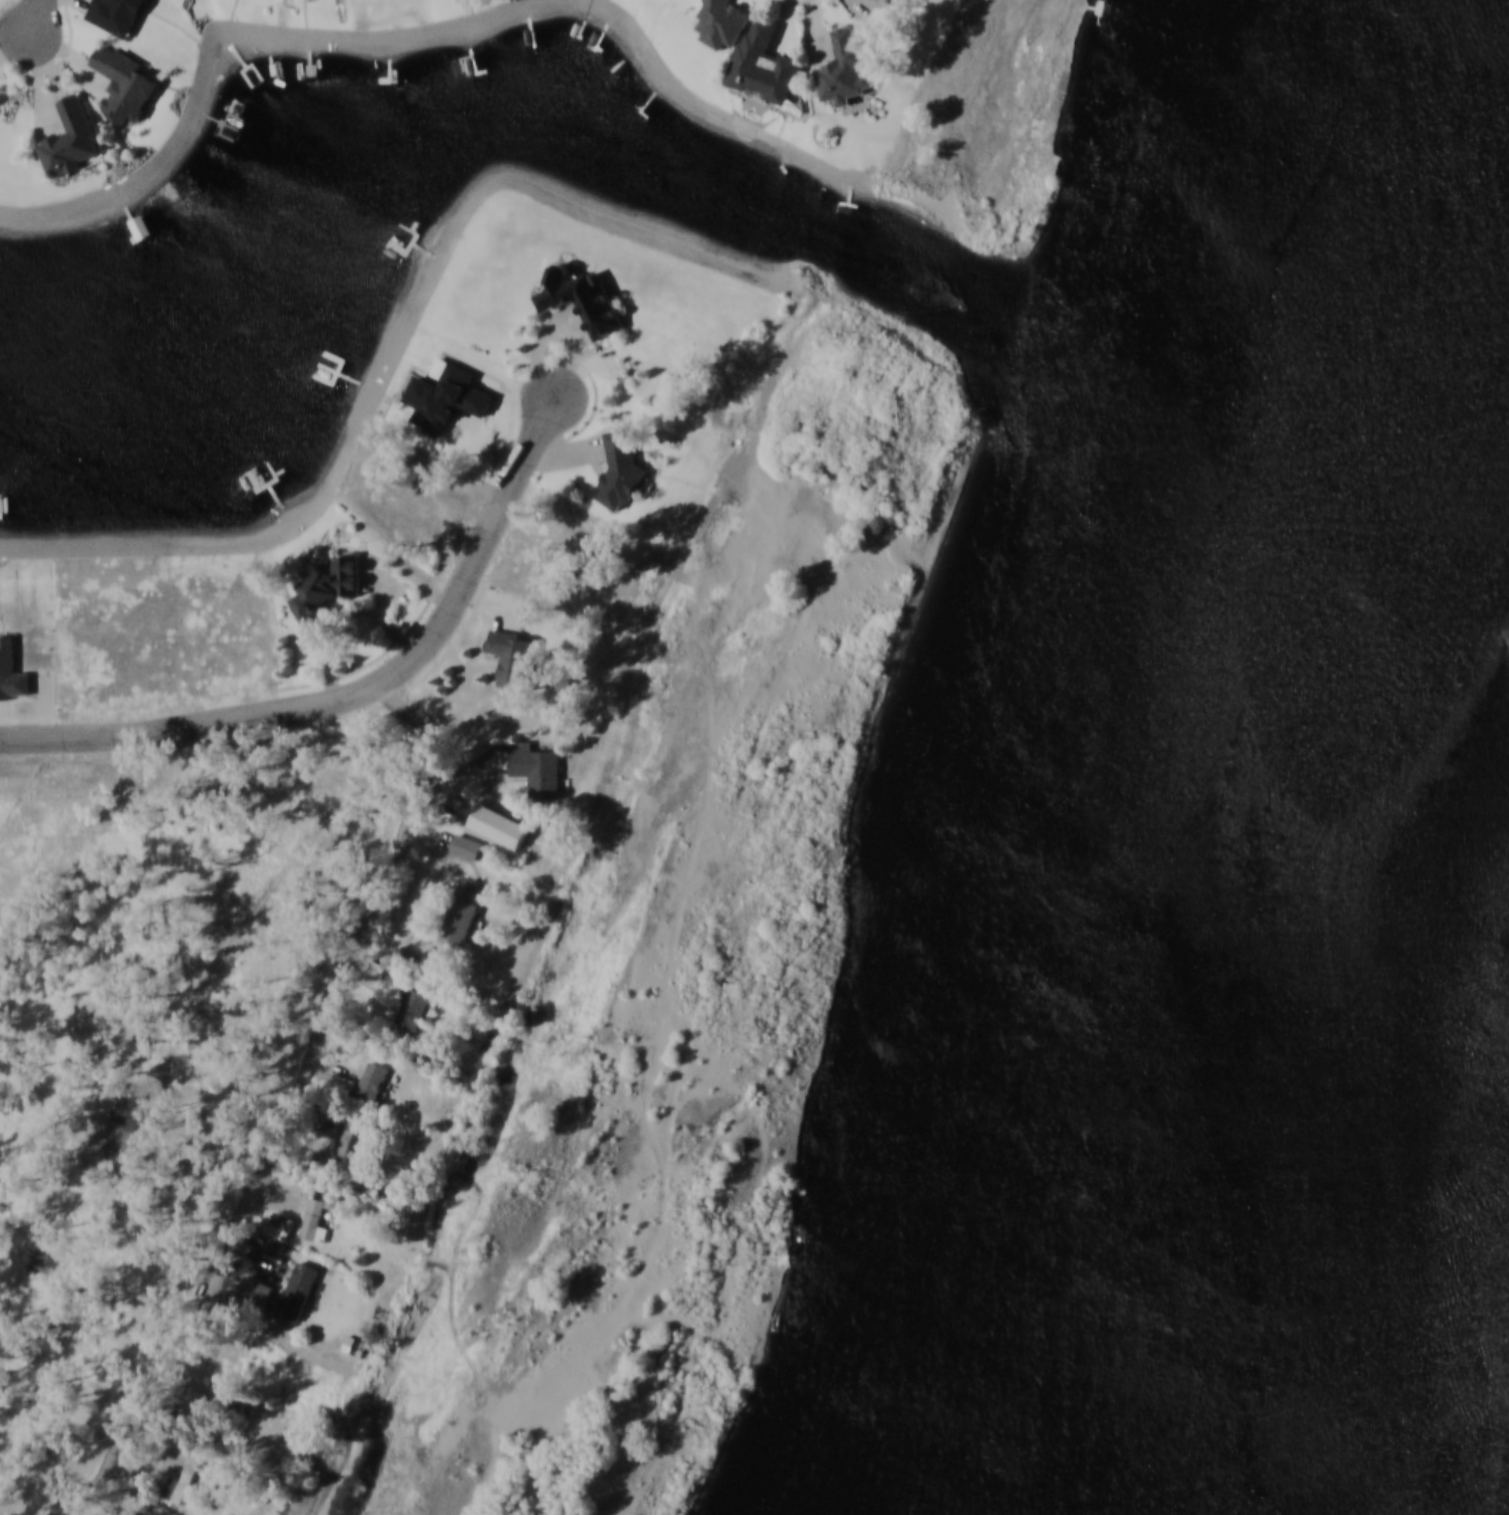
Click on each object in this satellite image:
building: (892, 1)
building: (723, 20)
road: (36, 21)
building: (765, 62)
building: (846, 66)
building: (124, 83)
building: (73, 139)
building: (582, 298)
building: (620, 469)
building: (328, 586)
building: (515, 656)
road: (360, 699)
building: (537, 767)
building: (490, 823)
building: (466, 846)
building: (462, 916)
building: (414, 1007)
building: (372, 1081)
building: (343, 1082)
road: (298, 1110)
building: (347, 1138)
building: (302, 1183)
building: (315, 1220)
river: (1460, 1378)
building: (226, 1394)
building: (184, 1480)

